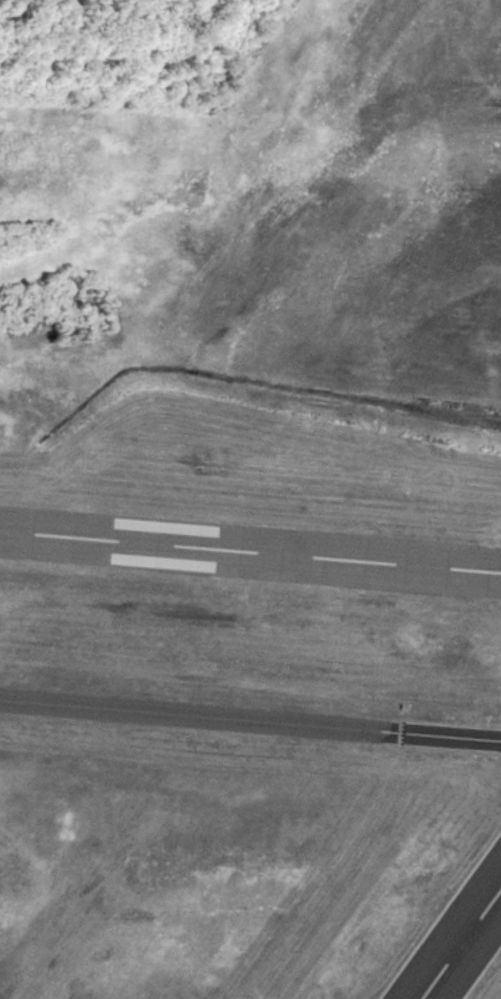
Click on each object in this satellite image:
airport runway: (250, 521)
airport runway: (250, 549)
airport runway: (250, 574)
airport taxiway: (250, 717)
airport runway: (434, 907)
airport runway: (456, 938)
airport runway: (477, 966)

